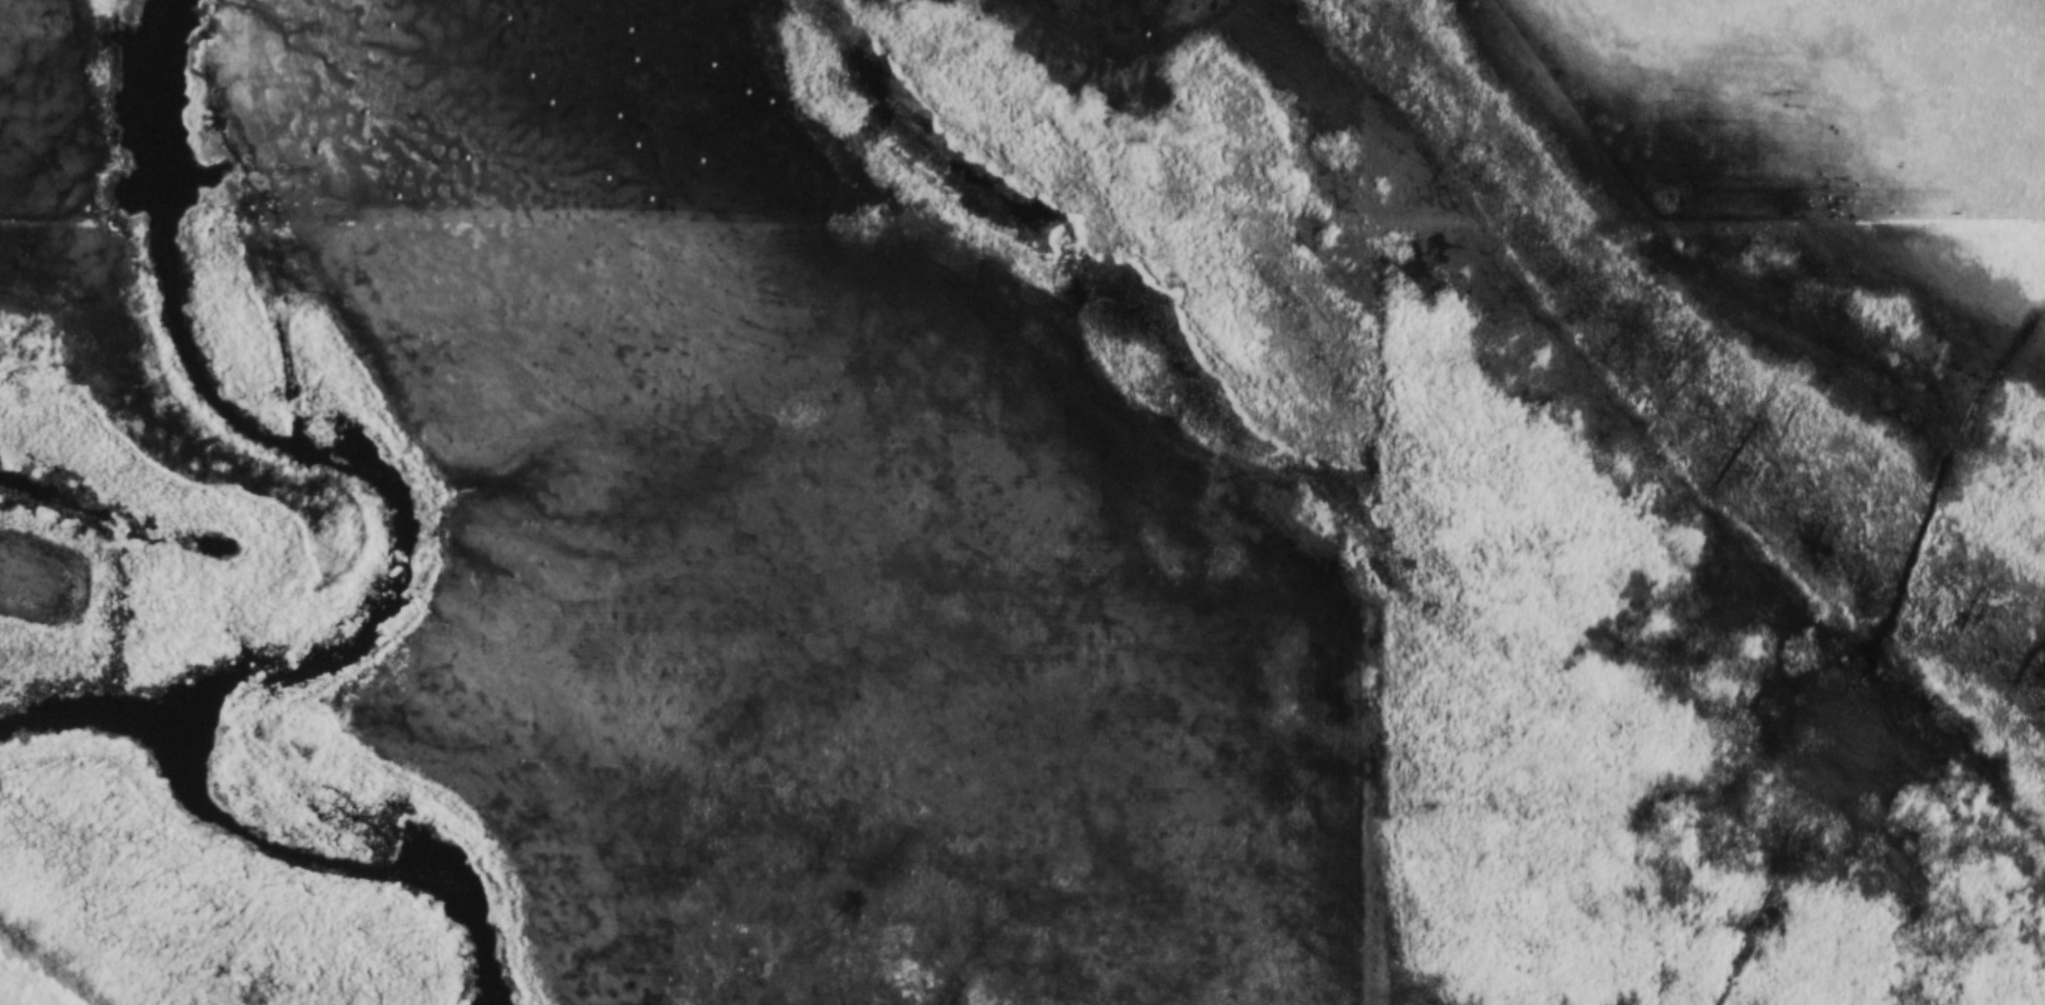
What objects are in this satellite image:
river: (383, 578)

